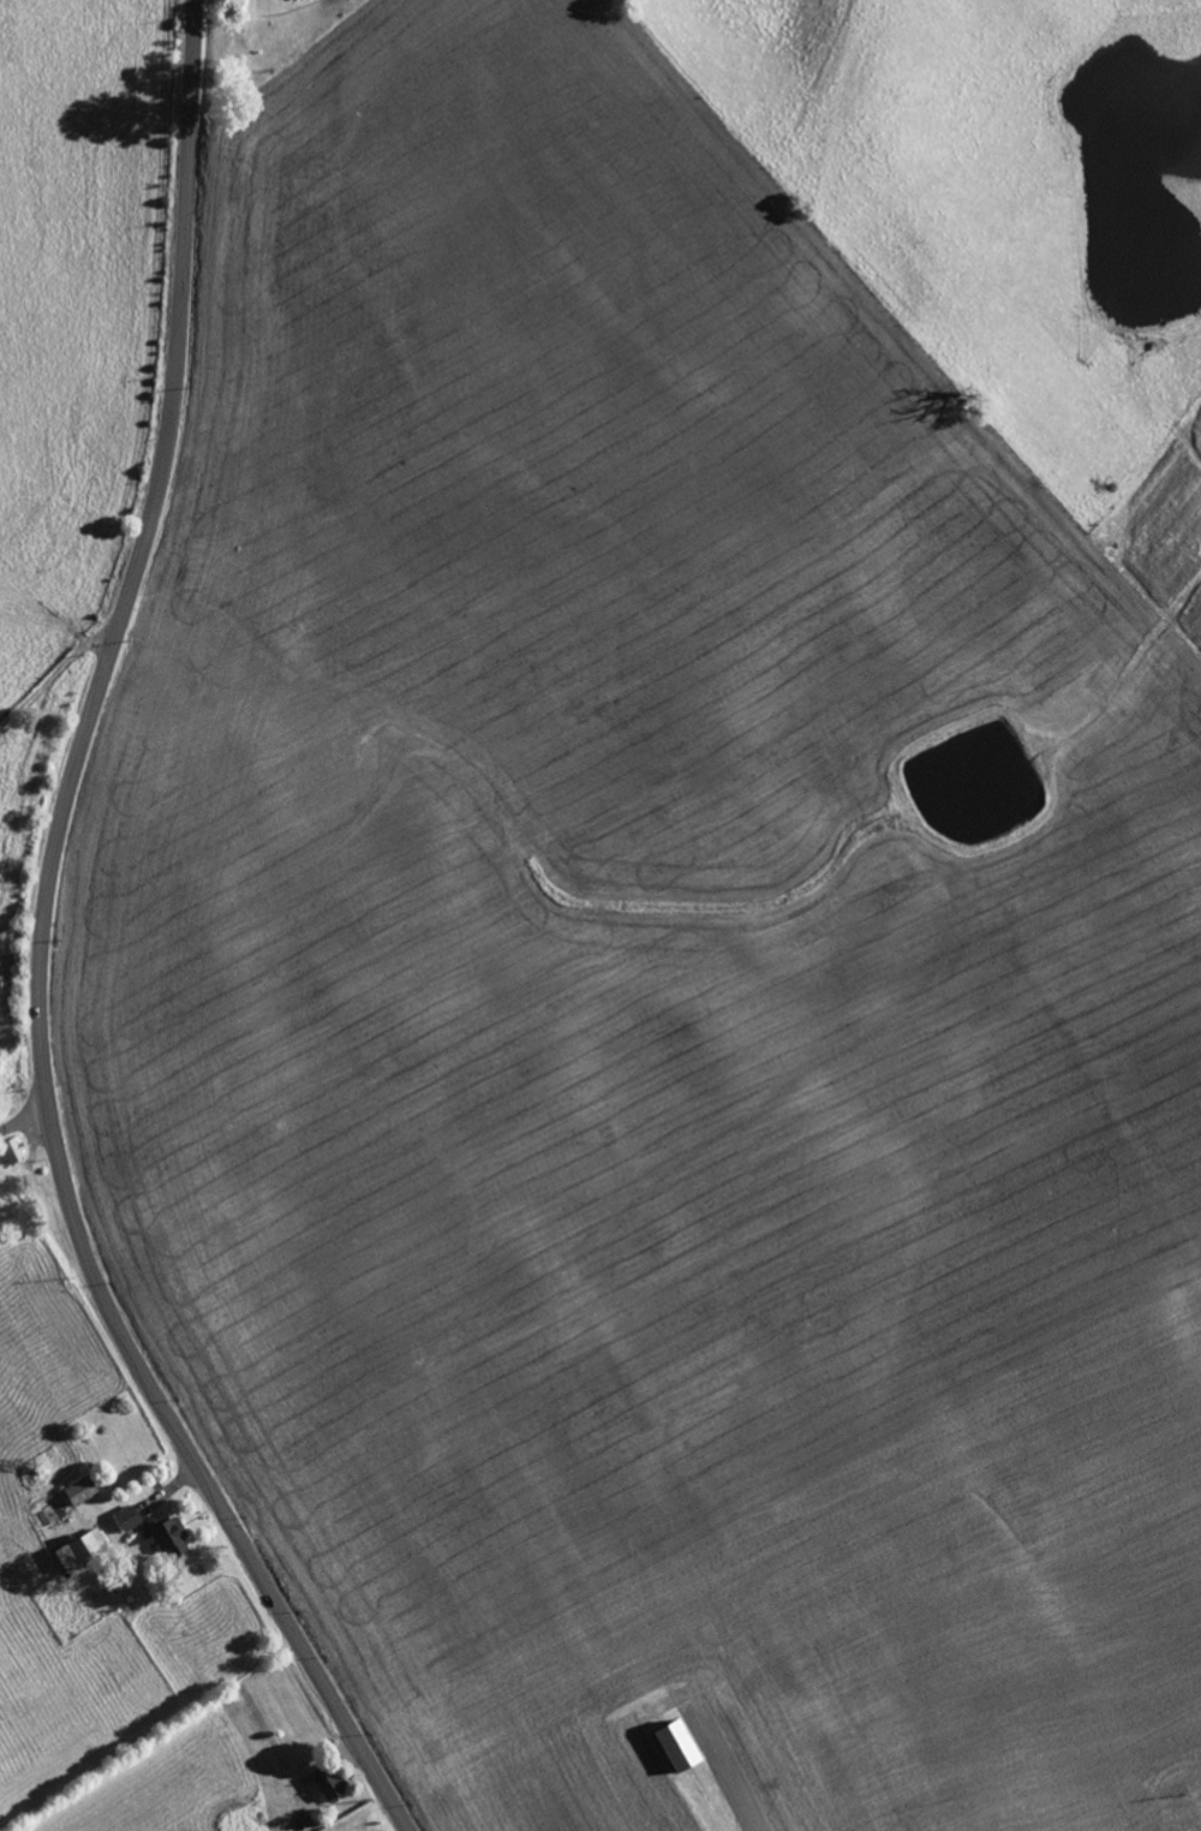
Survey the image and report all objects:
road: (85, 382)
road: (40, 952)
road: (23, 1119)
building: (13, 1151)
building: (82, 1491)
building: (129, 1519)
building: (167, 1537)
building: (83, 1550)
building: (681, 1744)
building: (329, 1783)

